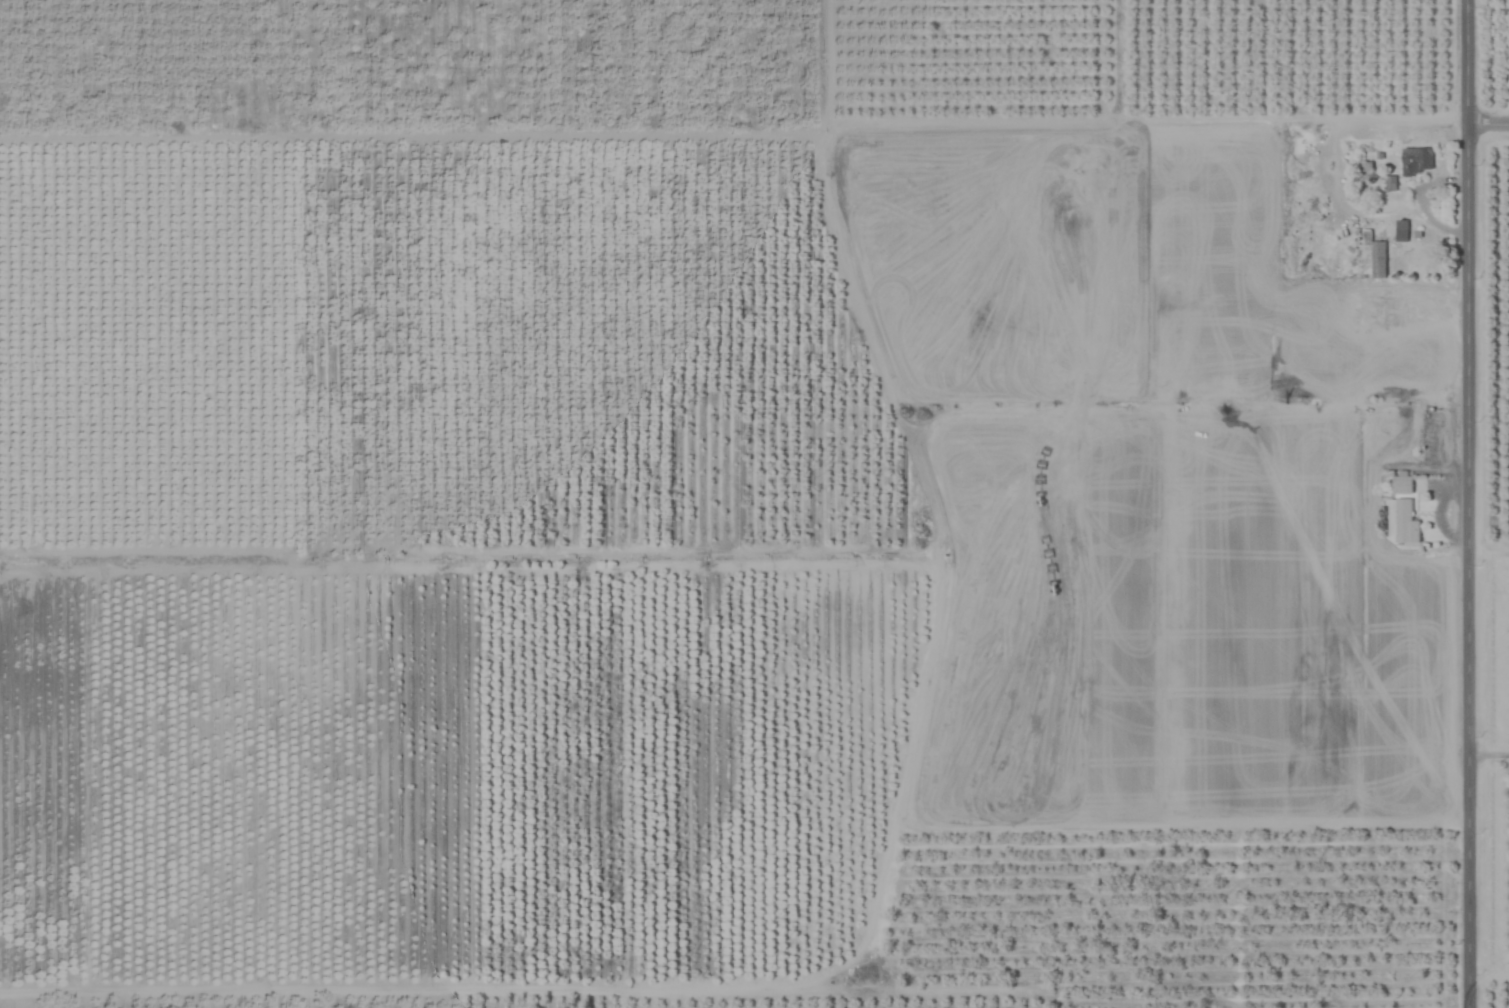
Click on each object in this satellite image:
road: (1489, 130)
building: (1416, 160)
building: (1401, 231)
building: (1376, 249)
building: (1401, 484)
road: (1469, 503)
building: (1401, 521)
road: (1489, 556)
road: (1489, 753)
road: (1489, 974)

